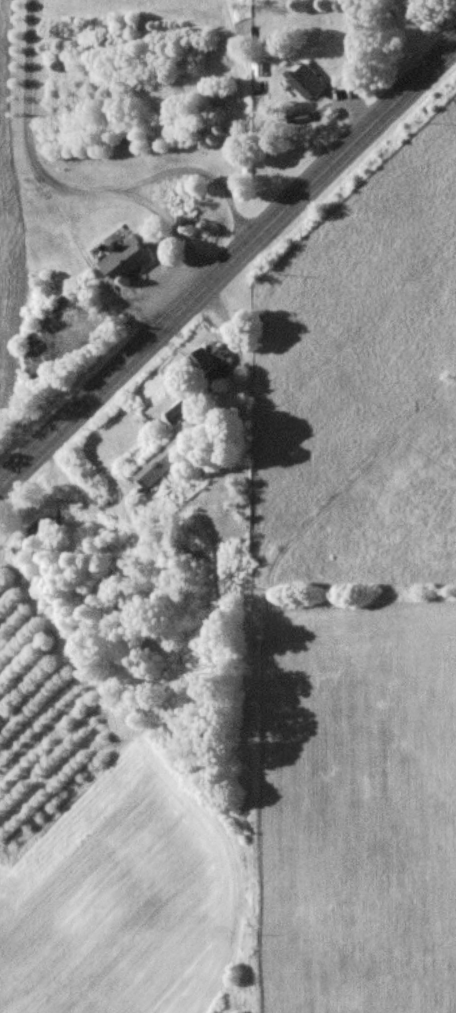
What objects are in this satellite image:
building: (307, 84)
road: (202, 176)
road: (54, 186)
building: (123, 261)
road: (227, 263)
building: (209, 365)
building: (179, 409)
building: (167, 455)

